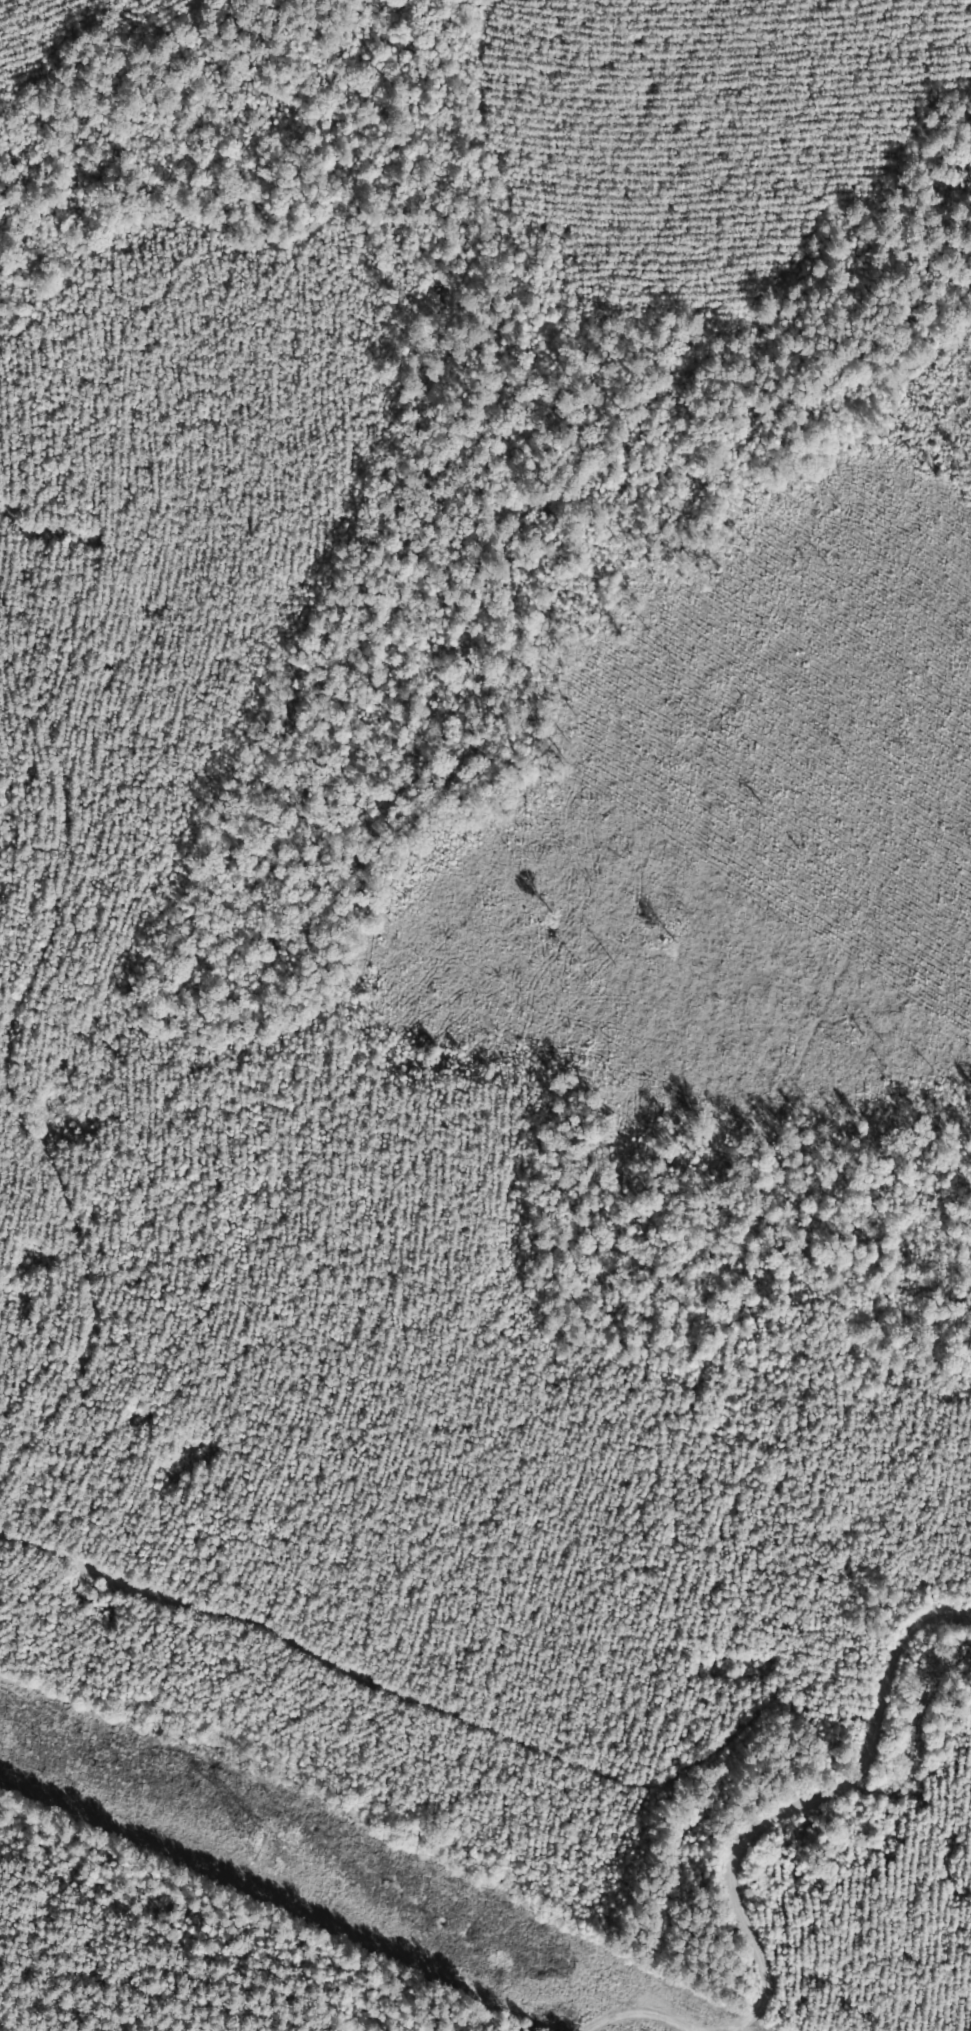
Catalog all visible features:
road: (798, 1797)
power tower: (268, 1850)

